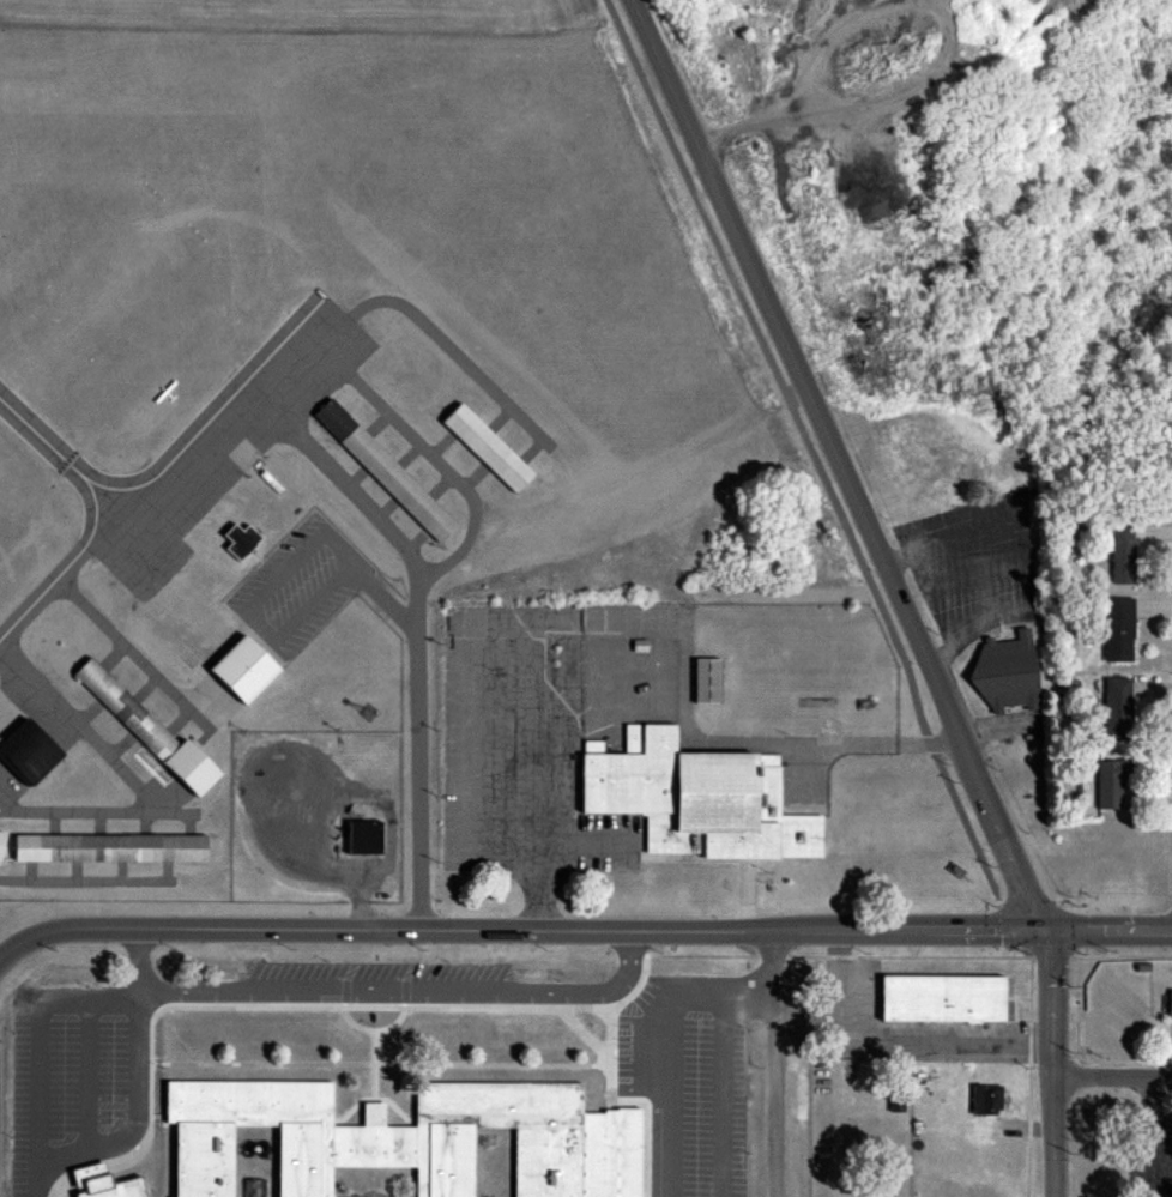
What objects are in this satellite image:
airport runway: (84, 307)
airport apron: (216, 447)
building: (485, 447)
road: (812, 453)
airport taxiway: (52, 454)
road: (839, 466)
building: (382, 470)
airport: (409, 491)
building: (238, 540)
road: (1027, 551)
building: (1119, 552)
airport taxiway: (42, 594)
building: (1116, 629)
building: (241, 669)
building: (1005, 673)
building: (705, 681)
building: (1114, 709)
building: (145, 729)
road: (418, 736)
building: (26, 751)
building: (1110, 782)
building: (696, 798)
building: (0, 836)
building: (362, 838)
building: (108, 848)
road: (582, 935)
road: (135, 971)
road: (417, 986)
building: (941, 998)
building: (1170, 1004)
road: (540, 1015)
road: (376, 1038)
road: (590, 1040)
road: (1035, 1047)
road: (38, 1048)
road: (673, 1048)
road: (774, 1065)
road: (1057, 1065)
road: (386, 1068)
road: (1114, 1078)
road: (376, 1090)
road: (723, 1093)
building: (986, 1099)
road: (632, 1105)
road: (358, 1107)
road: (133, 1110)
road: (1152, 1137)
building: (400, 1142)
building: (105, 1183)

